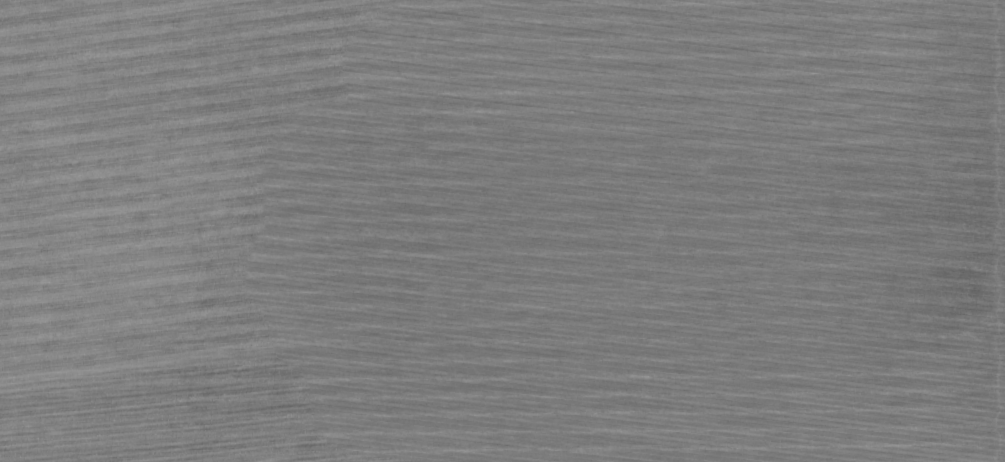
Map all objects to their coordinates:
railway: (950, 403)

